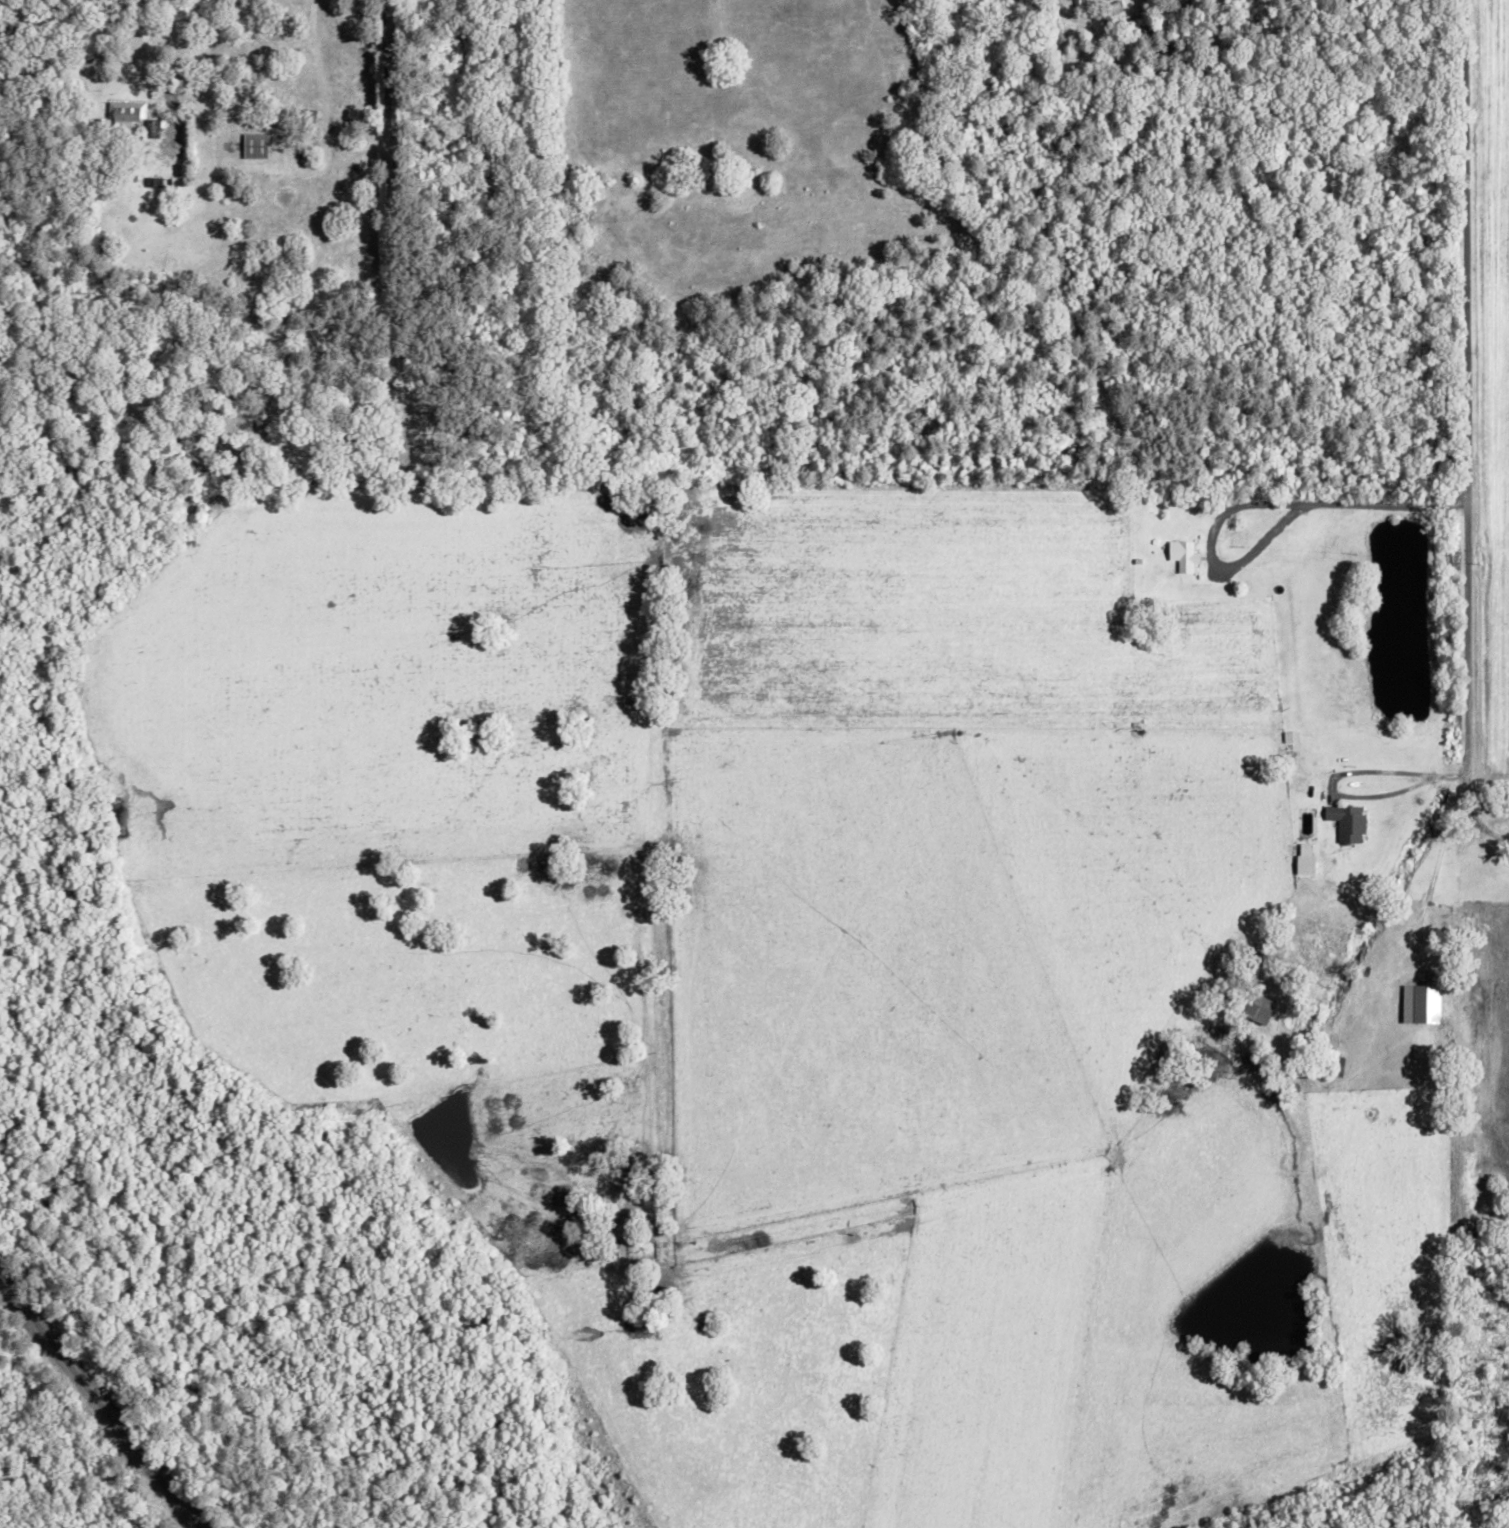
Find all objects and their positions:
road: (142, 29)
building: (126, 112)
building: (254, 146)
road: (387, 186)
road: (1458, 384)
road: (1259, 502)
building: (1183, 556)
road: (1328, 773)
road: (1469, 812)
building: (1347, 822)
road: (1412, 924)
building: (1427, 1003)
building: (1259, 1008)
railway: (96, 1403)

